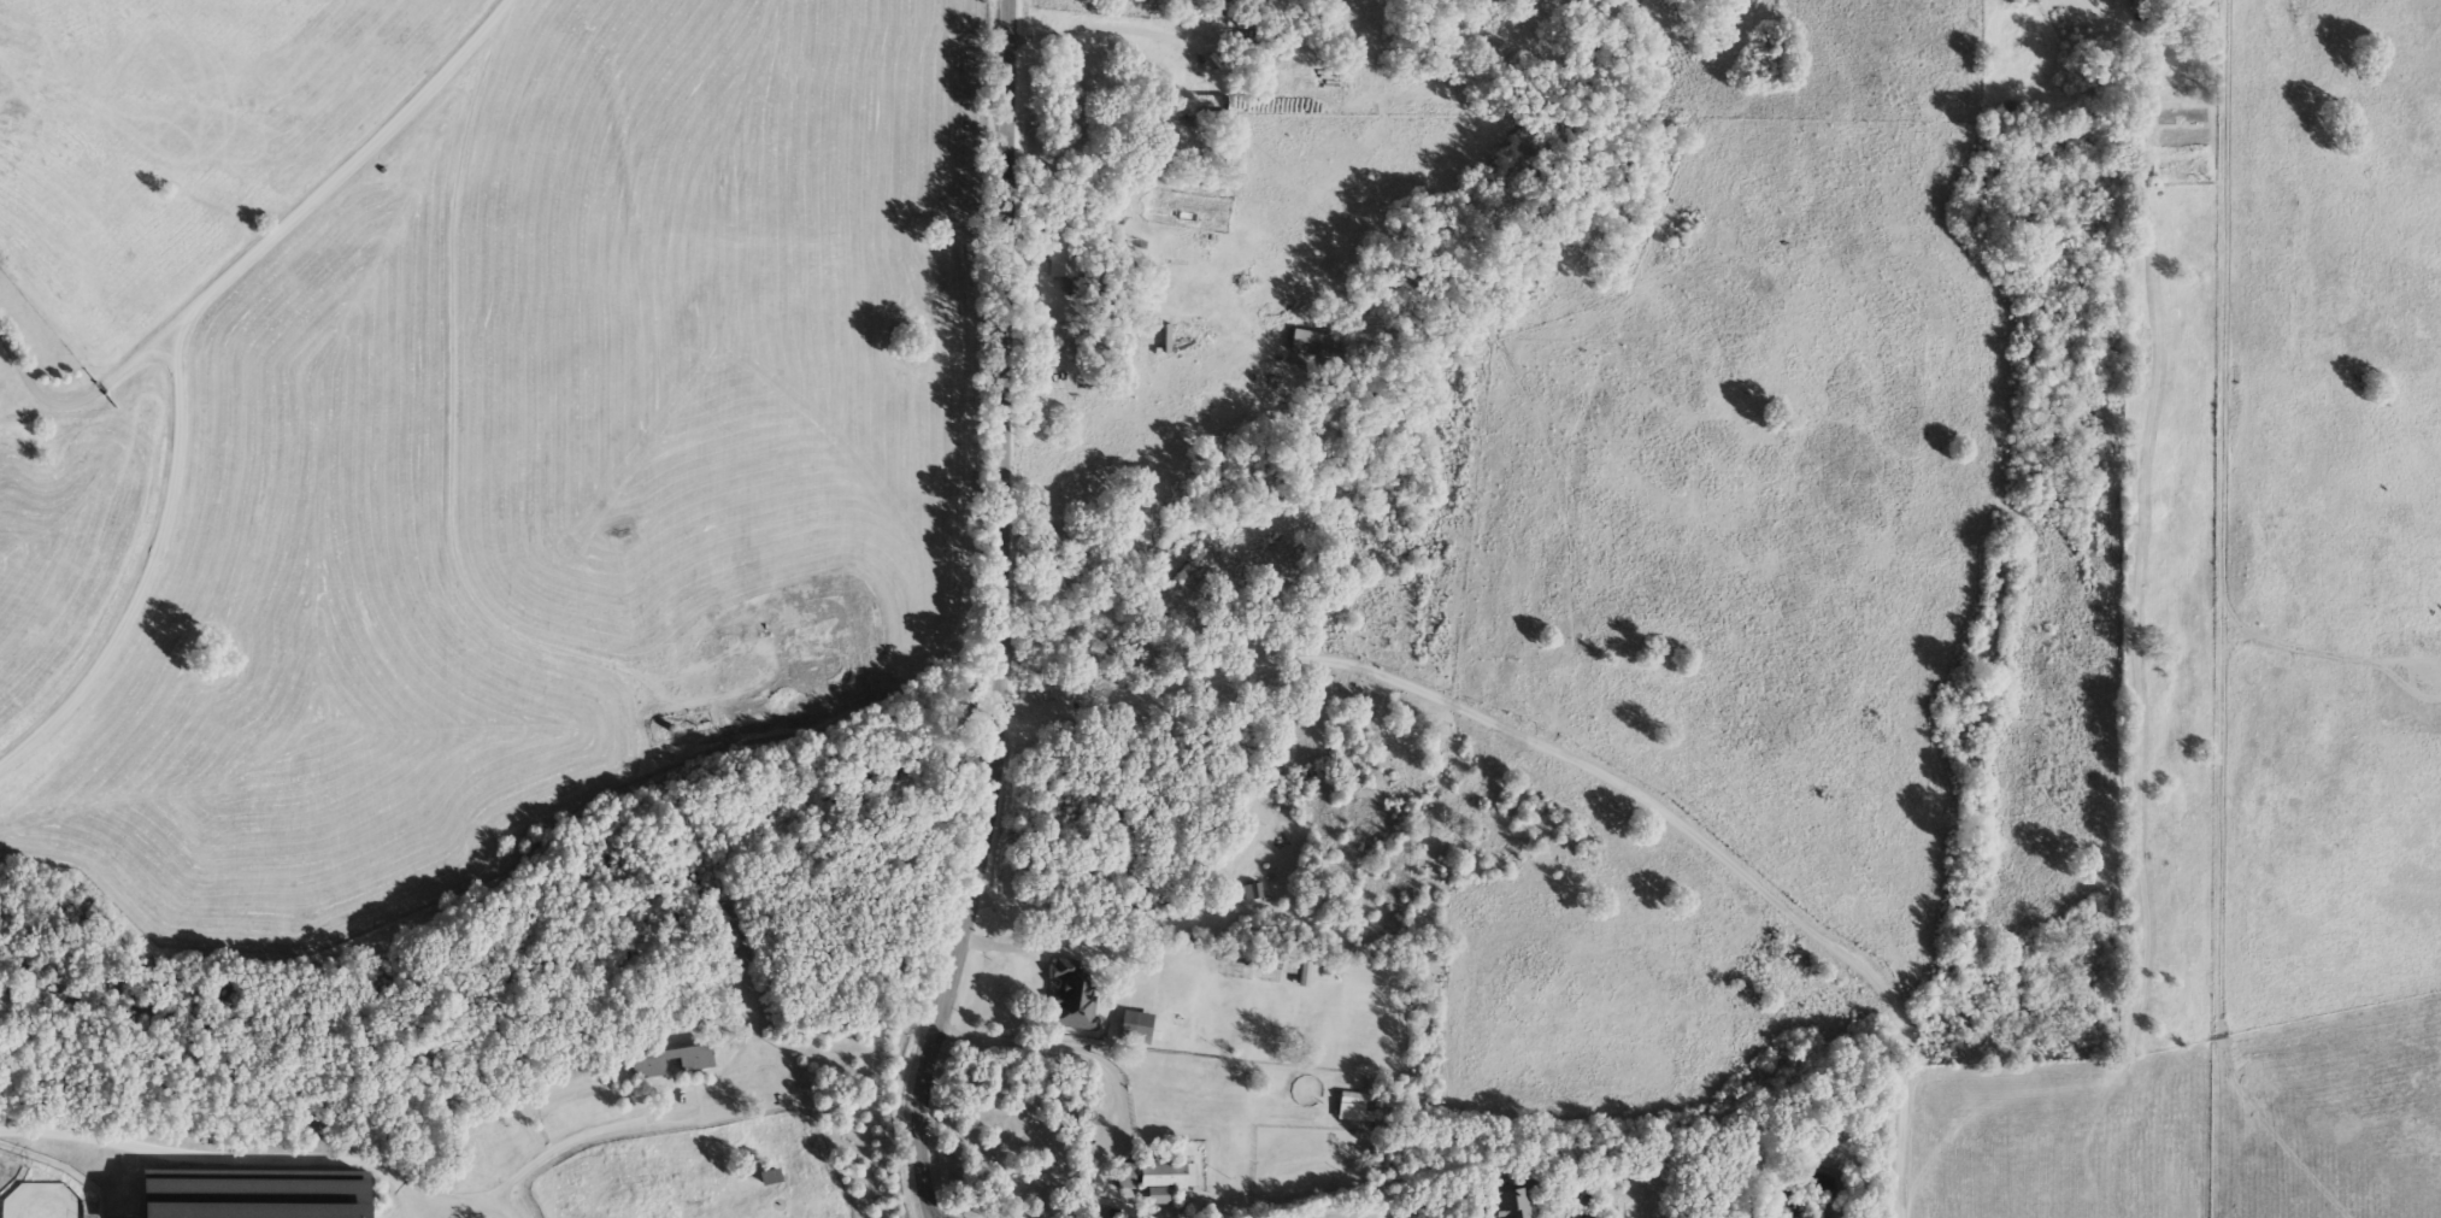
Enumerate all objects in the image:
road: (1117, 22)
building: (1261, 47)
road: (1005, 148)
road: (260, 248)
building: (1311, 345)
road: (139, 564)
road: (2223, 632)
road: (995, 763)
road: (1582, 763)
building: (1174, 835)
building: (1251, 893)
road: (1148, 912)
road: (1025, 947)
building: (1072, 998)
building: (1134, 1028)
road: (1060, 1045)
building: (646, 1065)
building: (1351, 1100)
park: (1007, 1131)
road: (580, 1134)
road: (273, 1160)
building: (1154, 1177)
building: (769, 1178)
building: (1510, 1201)
road: (406, 1216)

